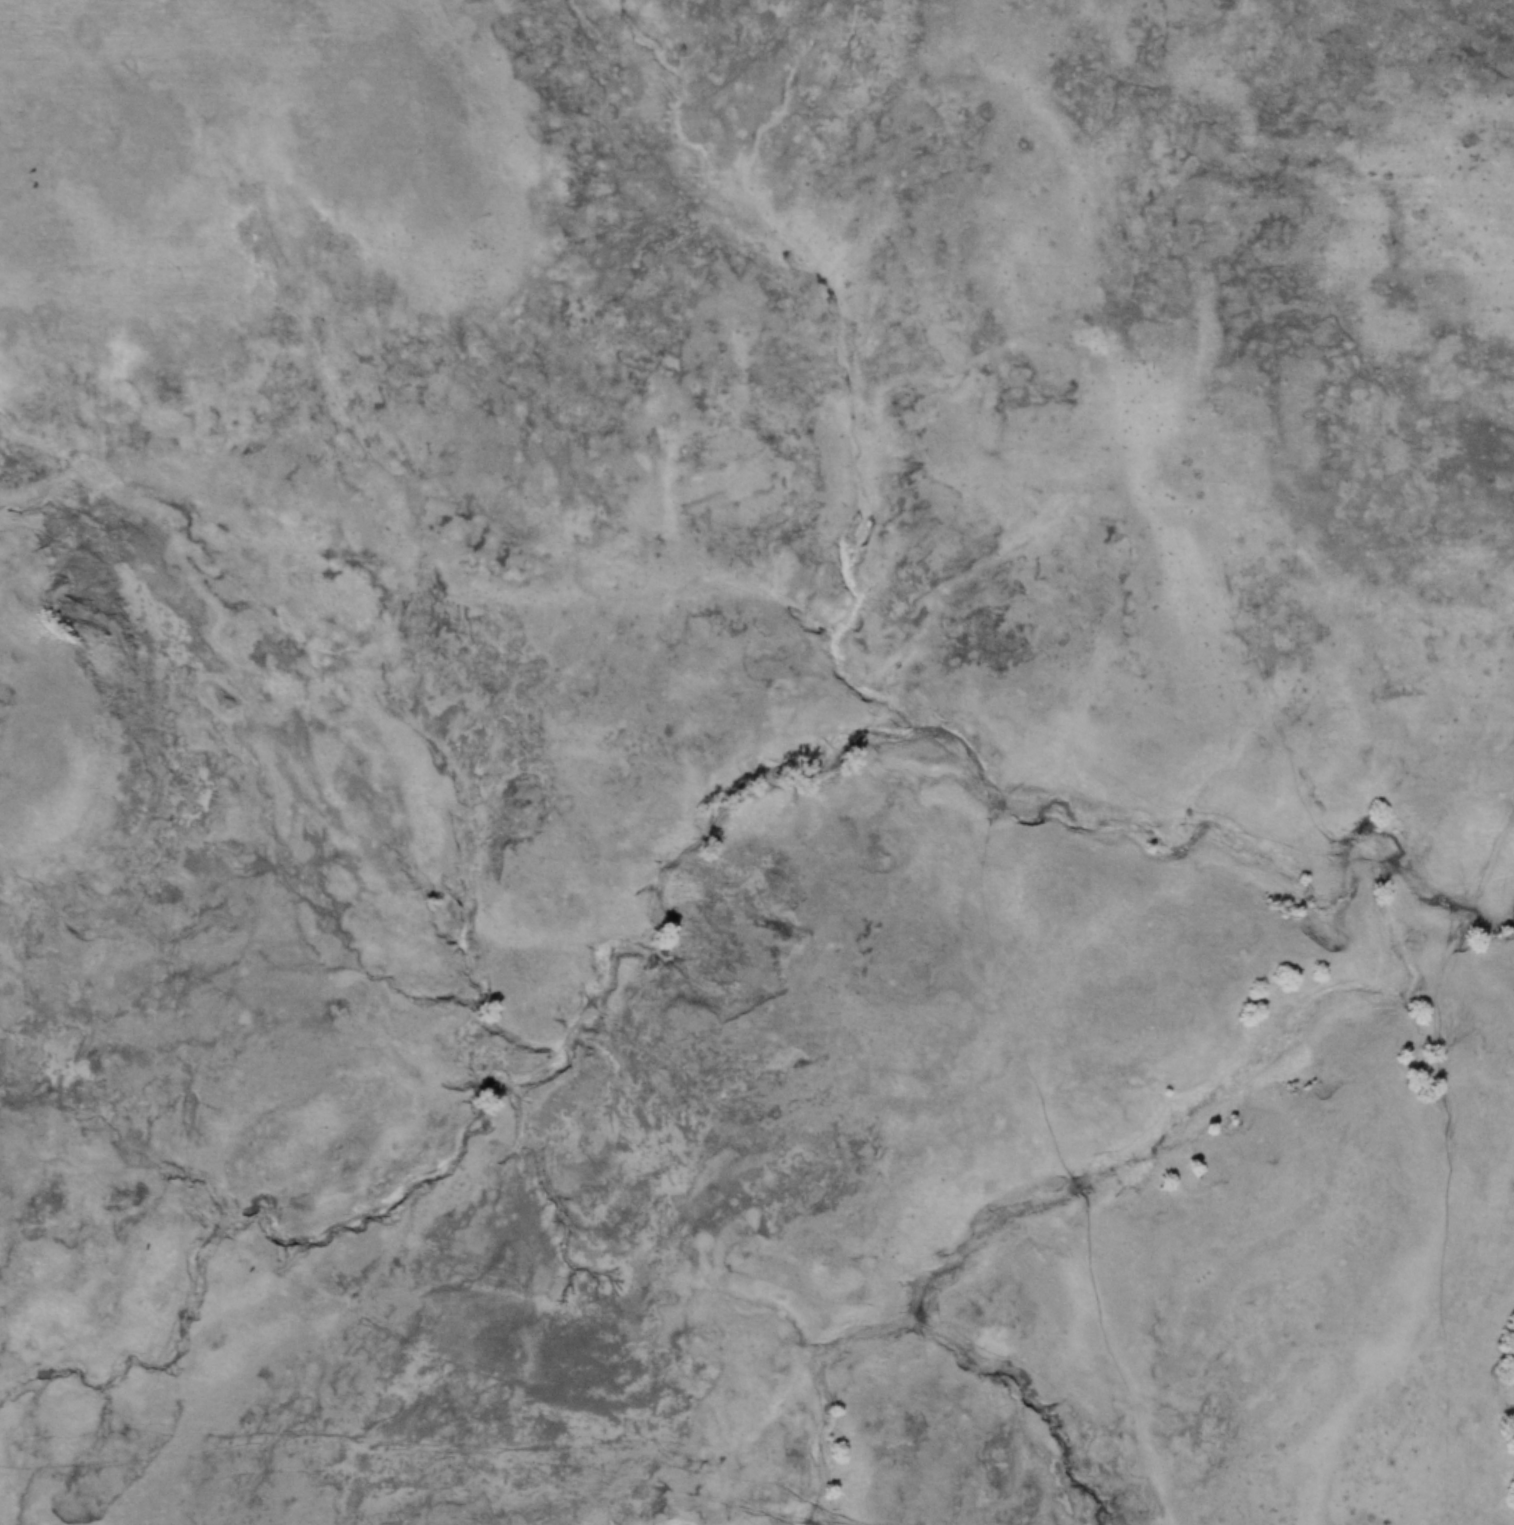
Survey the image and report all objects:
road: (192, 1191)
road: (422, 1445)

